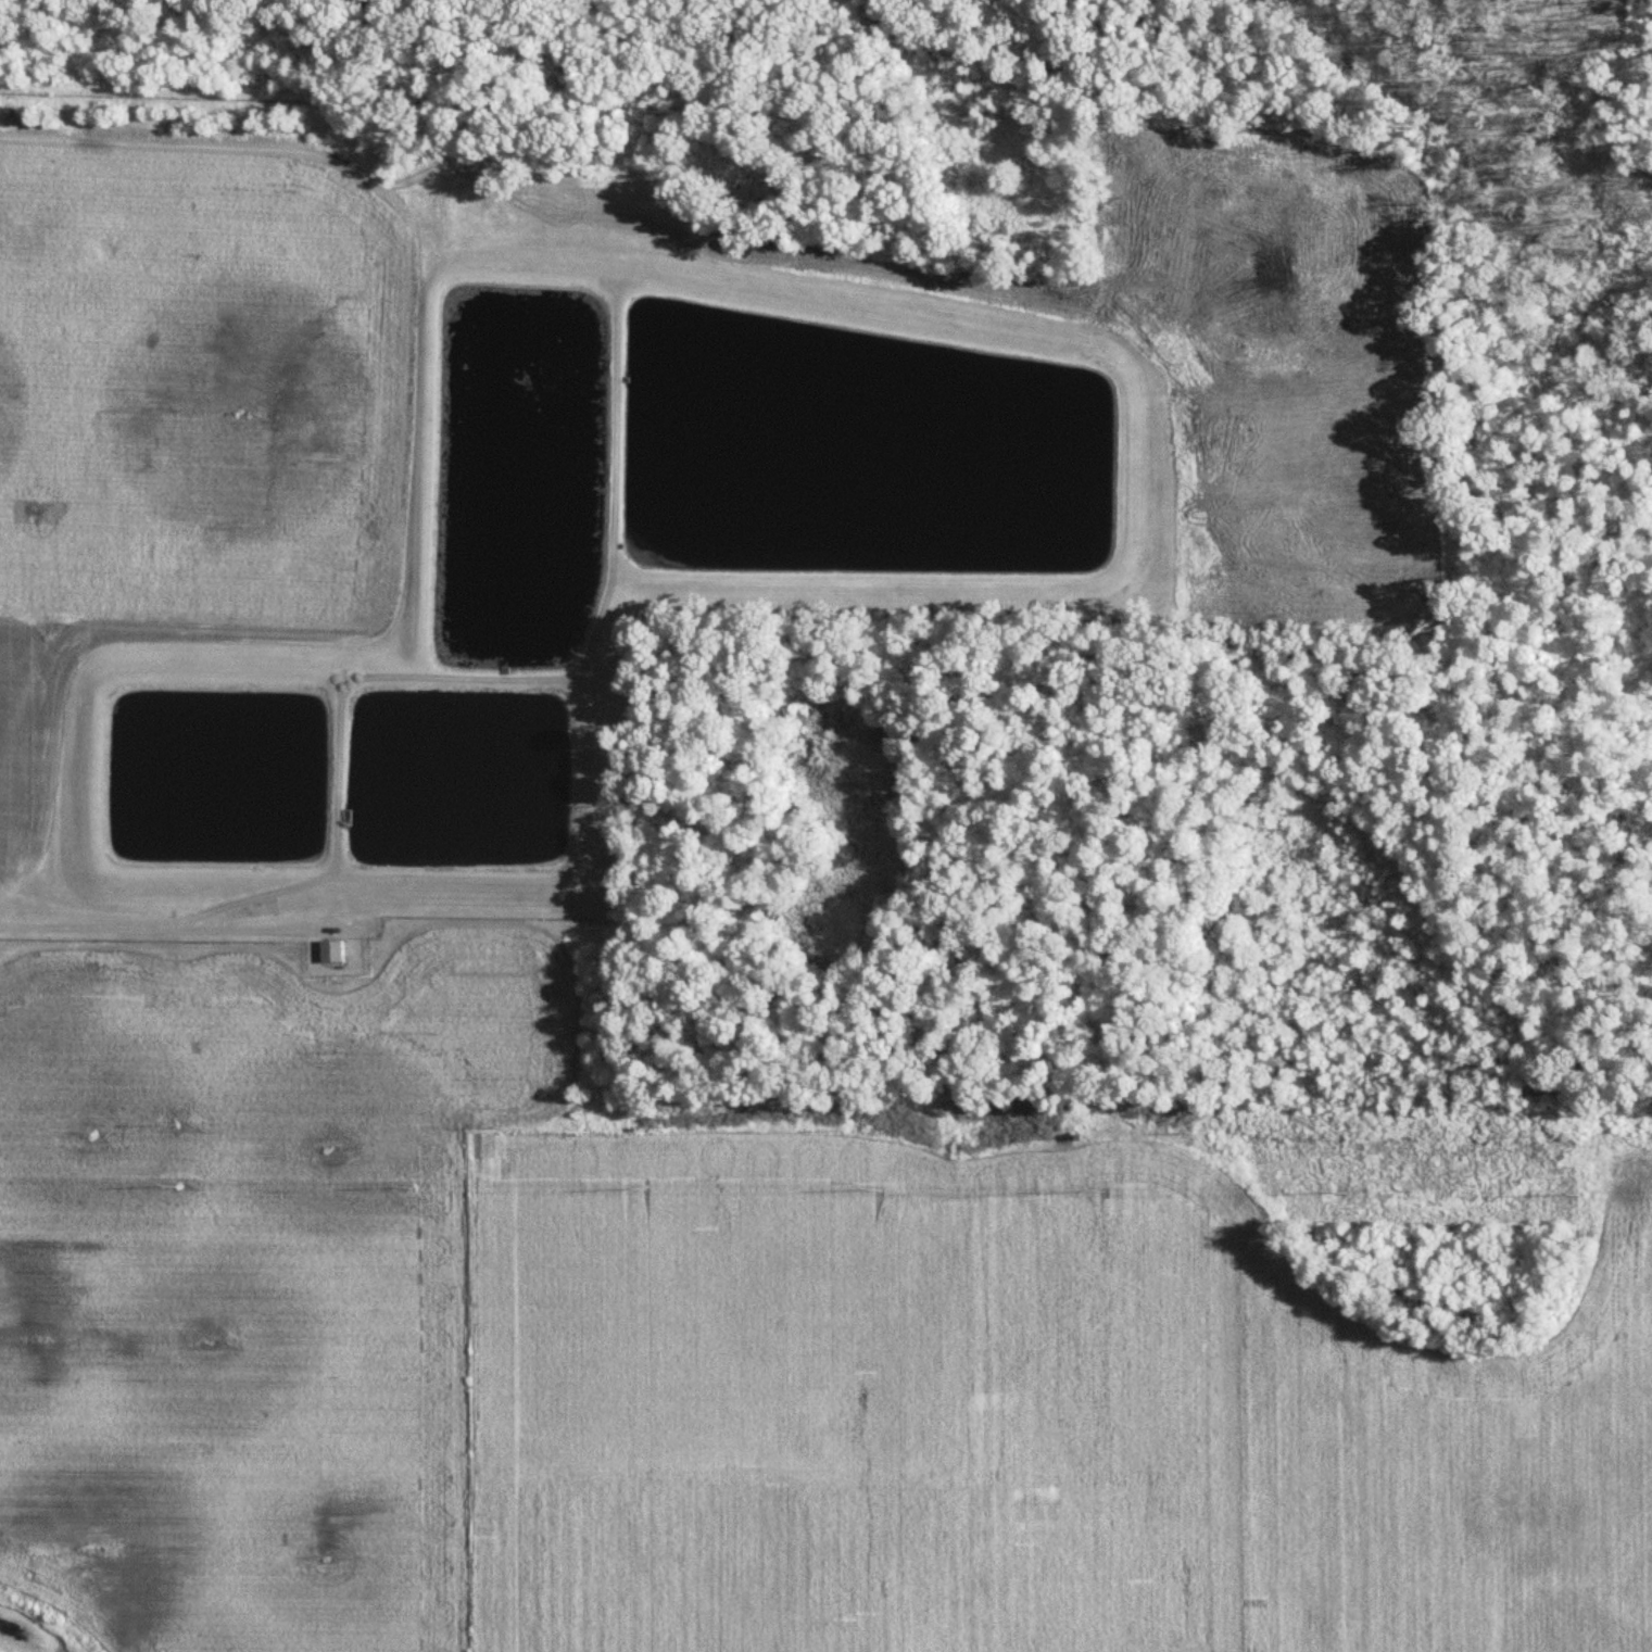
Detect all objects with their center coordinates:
road: (171, 926)
building: (335, 953)

